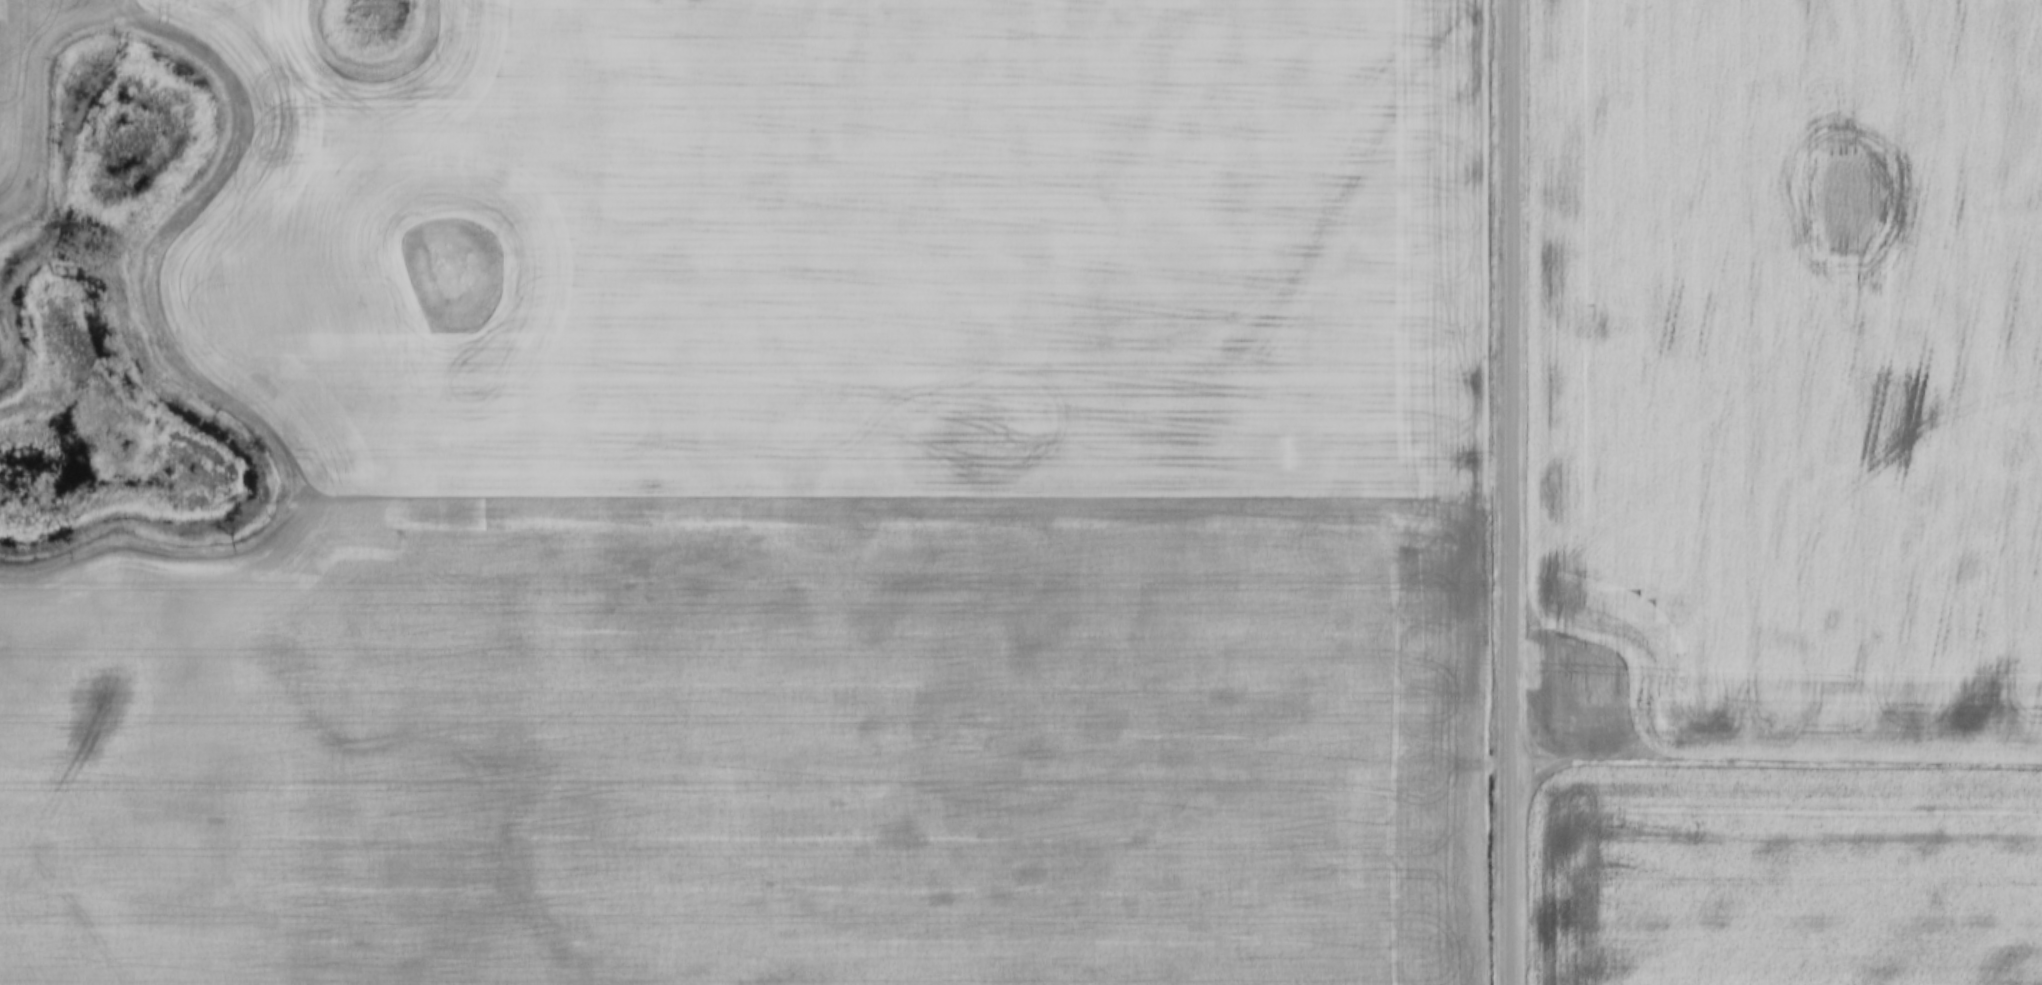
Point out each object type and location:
road: (1516, 492)

